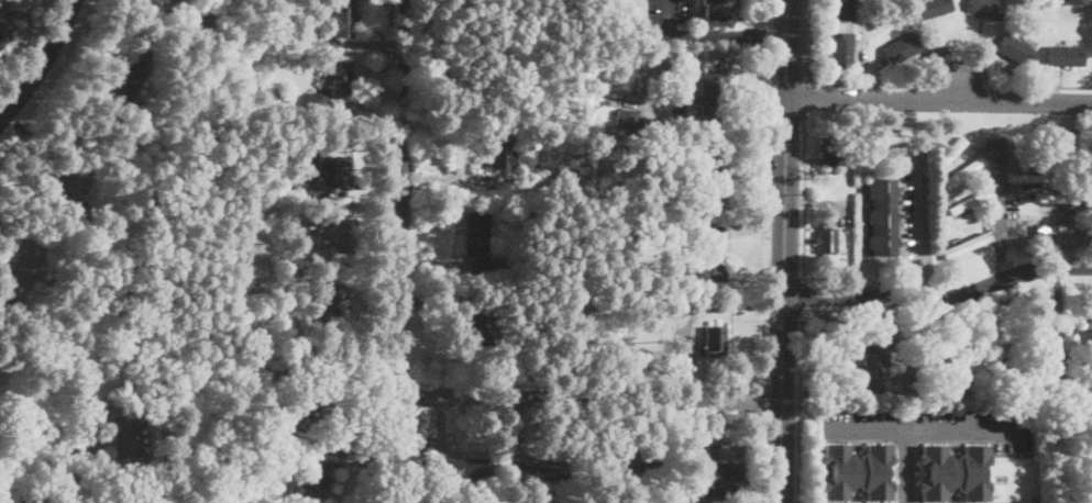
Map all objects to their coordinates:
building: (1077, 1)
building: (931, 8)
building: (988, 8)
building: (842, 9)
building: (715, 13)
building: (11, 20)
building: (337, 20)
parking lot: (670, 20)
building: (503, 22)
road: (708, 37)
road: (810, 41)
building: (902, 47)
building: (1015, 49)
building: (843, 51)
road: (34, 53)
road: (951, 53)
building: (1067, 55)
road: (42, 63)
building: (126, 78)
building: (342, 78)
building: (714, 92)
road: (806, 100)
road: (938, 101)
building: (316, 102)
building: (632, 119)
building: (950, 148)
building: (831, 149)
building: (501, 150)
building: (1063, 153)
building: (961, 170)
building: (335, 171)
building: (566, 175)
building: (715, 176)
building: (1027, 178)
building: (515, 181)
building: (52, 186)
building: (1091, 187)
building: (577, 191)
building: (948, 198)
building: (969, 200)
building: (1056, 200)
building: (695, 203)
road: (805, 203)
parking lot: (916, 208)
road: (1002, 208)
road: (919, 209)
building: (882, 216)
building: (76, 223)
building: (302, 225)
building: (1052, 228)
building: (346, 236)
building: (826, 238)
building: (476, 242)
building: (964, 244)
road: (402, 251)
road: (783, 251)
building: (709, 258)
building: (22, 269)
road: (920, 281)
building: (474, 287)
road: (940, 298)
road: (803, 299)
building: (338, 312)
building: (478, 325)
building: (582, 335)
building: (1084, 339)
building: (715, 342)
building: (475, 343)
building: (1000, 347)
building: (1047, 365)
building: (872, 366)
building: (953, 384)
building: (324, 395)
road: (592, 400)
road: (798, 406)
building: (95, 416)
building: (282, 421)
parking lot: (929, 425)
road: (923, 429)
building: (129, 440)
building: (217, 448)
building: (644, 466)
road: (906, 466)
parking lot: (906, 468)
building: (461, 469)
building: (542, 469)
building: (857, 472)
building: (955, 472)
building: (714, 476)
building: (317, 478)
road: (62, 489)
building: (500, 501)

